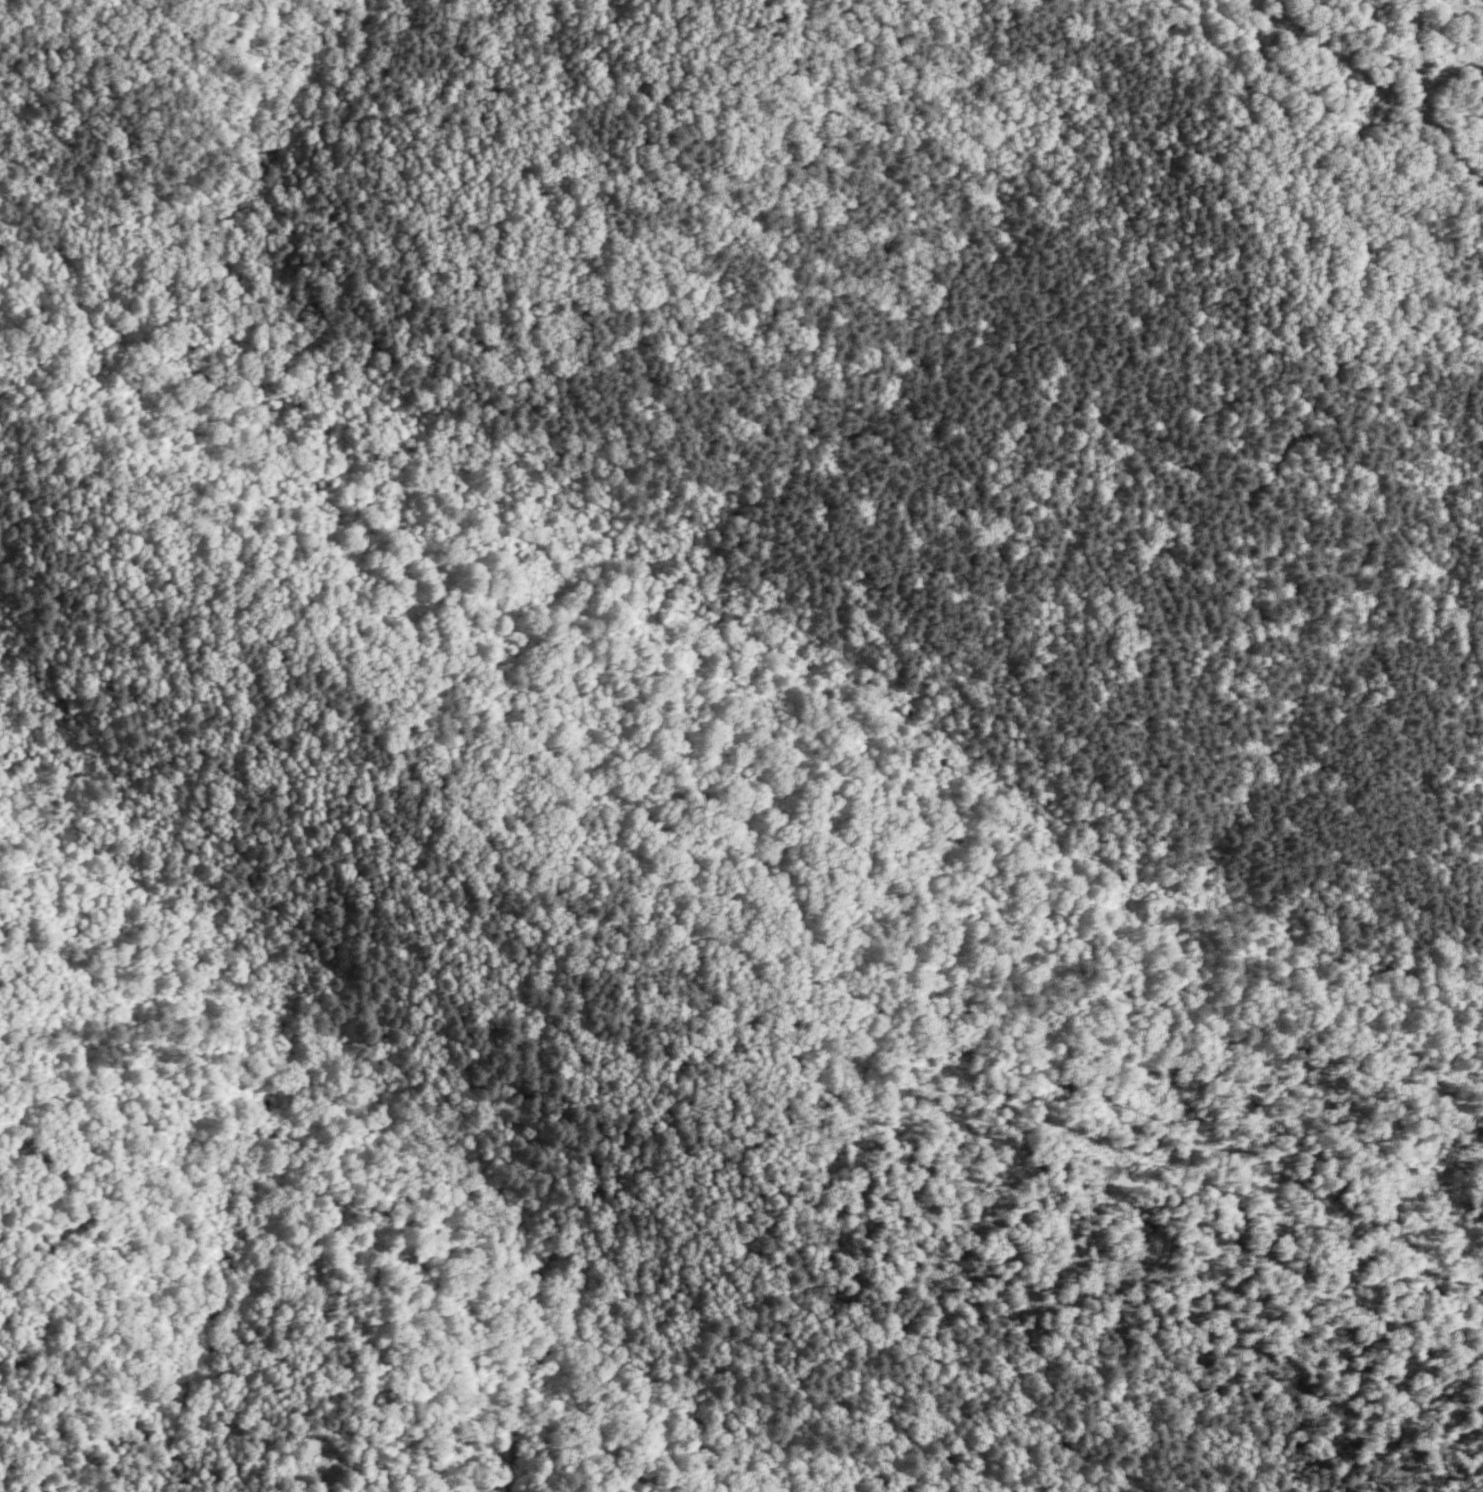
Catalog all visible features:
road: (1346, 60)
road: (1425, 104)

